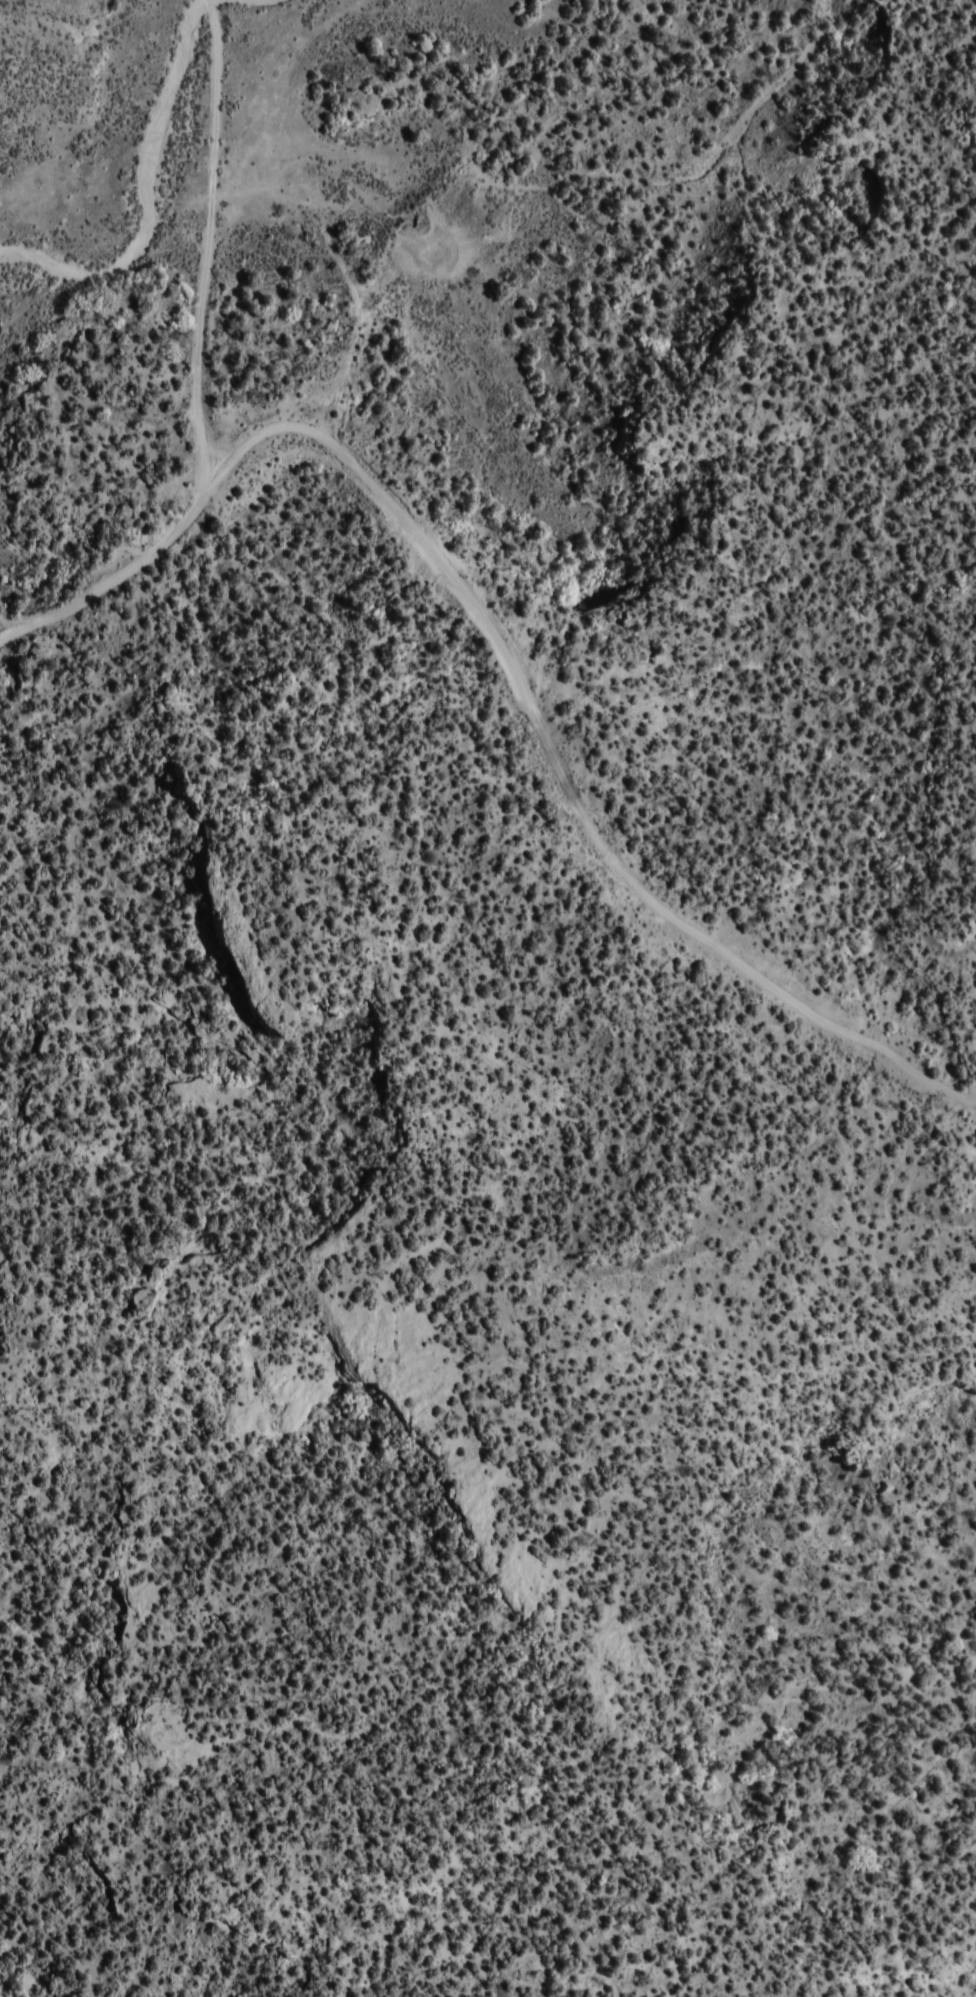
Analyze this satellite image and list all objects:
road: (508, 653)

